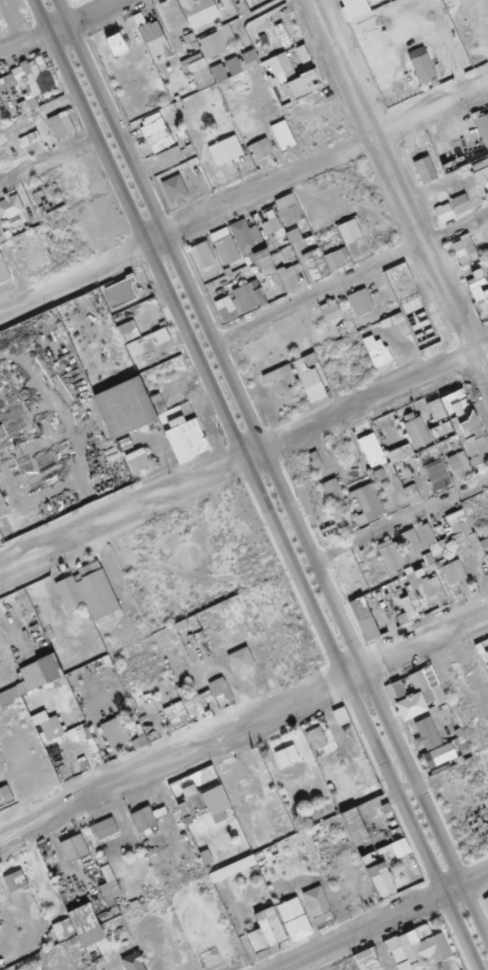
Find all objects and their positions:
road: (59, 27)
road: (396, 195)
road: (243, 197)
road: (244, 458)

